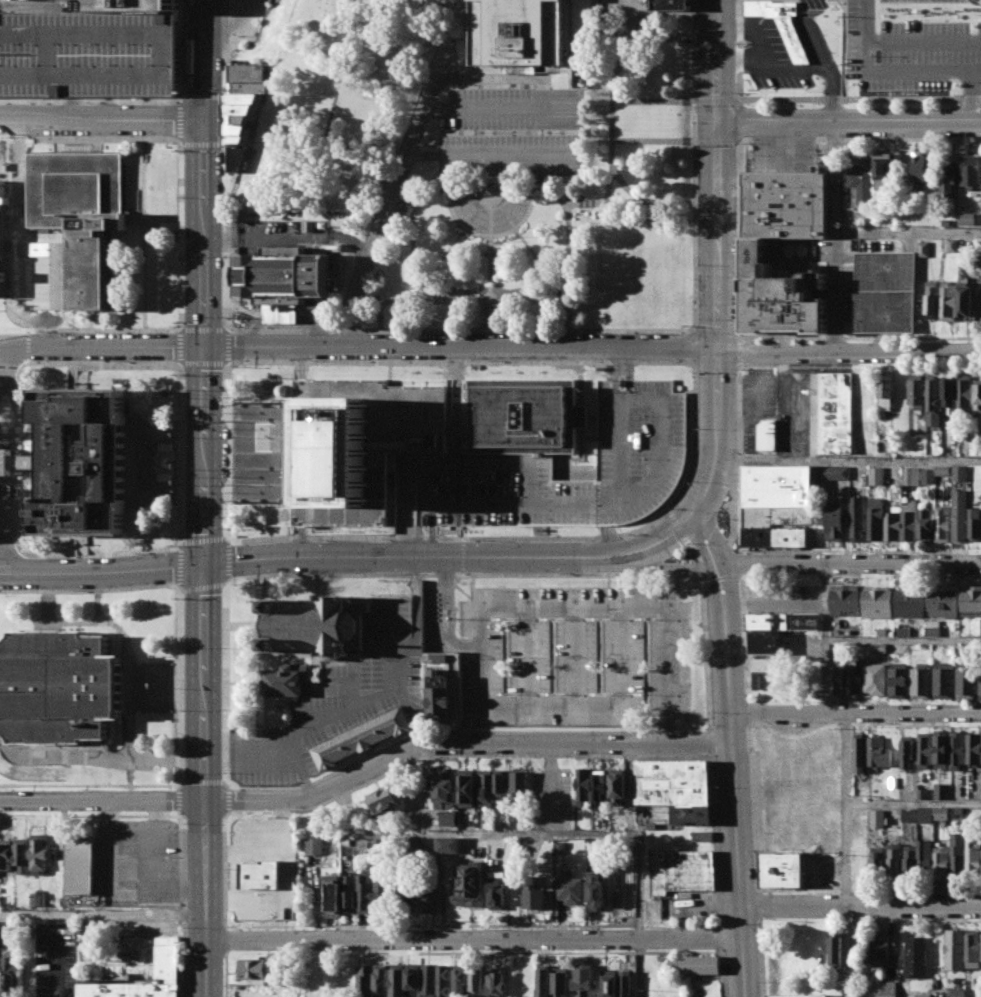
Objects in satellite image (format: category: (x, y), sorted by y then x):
building: (18, 1)
road: (229, 4)
road: (230, 4)
parking lot: (806, 4)
building: (115, 5)
building: (671, 6)
road: (204, 13)
road: (855, 16)
road: (231, 23)
road: (228, 25)
building: (780, 25)
building: (516, 33)
road: (609, 39)
road: (855, 43)
parking lot: (910, 43)
road: (570, 44)
road: (226, 45)
road: (739, 49)
road: (179, 51)
parking lot: (88, 54)
parking lot: (765, 57)
road: (717, 60)
road: (973, 68)
road: (694, 70)
road: (559, 71)
building: (247, 72)
building: (248, 87)
road: (966, 93)
building: (246, 97)
road: (611, 98)
road: (739, 98)
road: (860, 99)
road: (716, 100)
road: (654, 102)
park: (333, 109)
road: (481, 109)
building: (242, 117)
road: (101, 118)
road: (738, 119)
road: (849, 119)
traffic signals: (718, 122)
parking lot: (512, 132)
road: (858, 138)
road: (72, 139)
road: (154, 139)
building: (238, 139)
road: (179, 141)
road: (718, 141)
road: (653, 142)
road: (695, 142)
road: (221, 143)
building: (235, 156)
road: (551, 157)
road: (223, 160)
road: (404, 163)
building: (921, 167)
building: (884, 171)
building: (970, 171)
road: (533, 173)
road: (448, 174)
road: (834, 176)
building: (949, 179)
building: (860, 180)
road: (311, 182)
road: (204, 186)
road: (609, 187)
road: (491, 190)
building: (787, 204)
road: (629, 205)
park: (562, 206)
road: (375, 211)
building: (81, 215)
road: (162, 218)
building: (966, 219)
road: (848, 232)
building: (2, 234)
road: (718, 234)
road: (522, 237)
road: (457, 238)
building: (952, 245)
building: (923, 249)
road: (490, 261)
building: (283, 275)
road: (553, 284)
road: (432, 290)
building: (884, 291)
building: (778, 296)
building: (931, 299)
building: (965, 299)
building: (948, 300)
road: (474, 302)
road: (283, 318)
road: (178, 327)
road: (226, 328)
road: (693, 328)
road: (72, 330)
road: (169, 330)
road: (608, 330)
road: (739, 335)
road: (764, 337)
road: (226, 346)
road: (102, 347)
road: (179, 347)
traffic signals: (204, 347)
road: (460, 347)
traffic signals: (718, 347)
road: (619, 351)
road: (849, 351)
road: (89, 363)
road: (6, 364)
road: (693, 364)
road: (228, 365)
road: (755, 366)
road: (737, 368)
road: (458, 371)
road: (718, 385)
road: (581, 389)
road: (182, 391)
road: (225, 391)
building: (915, 391)
building: (885, 393)
building: (949, 393)
building: (965, 395)
building: (978, 396)
building: (934, 400)
road: (450, 401)
road: (626, 404)
road: (458, 407)
road: (20, 408)
building: (837, 412)
building: (521, 416)
building: (582, 417)
road: (596, 427)
building: (766, 433)
road: (695, 434)
building: (360, 444)
road: (581, 446)
road: (622, 454)
road: (849, 458)
building: (79, 461)
road: (138, 461)
parking lot: (474, 461)
road: (479, 463)
road: (714, 467)
building: (941, 470)
building: (832, 472)
building: (959, 473)
helipad: (338, 474)
building: (876, 476)
building: (911, 476)
building: (926, 476)
road: (458, 491)
road: (739, 492)
building: (777, 494)
road: (263, 501)
road: (428, 501)
building: (406, 503)
road: (604, 503)
road: (669, 511)
road: (227, 512)
building: (959, 516)
building: (856, 518)
building: (875, 518)
building: (833, 520)
building: (909, 520)
road: (405, 522)
building: (893, 523)
building: (941, 523)
road: (180, 524)
building: (975, 524)
building: (925, 525)
road: (419, 527)
road: (679, 528)
road: (432, 531)
road: (446, 531)
building: (775, 538)
road: (8, 539)
road: (228, 539)
road: (611, 540)
road: (696, 551)
road: (90, 555)
road: (462, 556)
road: (355, 559)
road: (853, 562)
traffic signals: (203, 563)
road: (646, 566)
road: (701, 567)
road: (728, 569)
road: (464, 574)
road: (711, 576)
road: (715, 577)
road: (127, 588)
parking lot: (784, 599)
building: (843, 599)
building: (971, 600)
road: (823, 601)
building: (877, 601)
building: (942, 601)
building: (909, 602)
road: (777, 603)
road: (99, 606)
road: (569, 608)
road: (49, 611)
parking lot: (439, 620)
building: (784, 621)
road: (98, 622)
building: (317, 624)
building: (980, 625)
building: (933, 628)
building: (902, 630)
building: (881, 631)
building: (764, 635)
road: (903, 639)
road: (416, 641)
building: (879, 648)
building: (765, 649)
road: (706, 650)
road: (526, 656)
road: (573, 656)
parking lot: (574, 657)
building: (439, 658)
road: (203, 671)
road: (826, 676)
building: (854, 676)
building: (837, 678)
building: (876, 679)
building: (943, 680)
building: (966, 680)
building: (287, 681)
building: (898, 681)
building: (920, 681)
building: (979, 681)
road: (226, 685)
road: (354, 686)
building: (58, 687)
flagpole: (157, 687)
building: (438, 696)
road: (864, 702)
parking lot: (336, 704)
road: (570, 704)
road: (185, 710)
road: (855, 712)
road: (750, 713)
road: (332, 718)
road: (462, 732)
building: (363, 736)
road: (712, 739)
road: (511, 743)
building: (941, 747)
building: (973, 748)
building: (957, 749)
building: (924, 750)
building: (878, 751)
building: (906, 751)
building: (859, 752)
road: (270, 754)
road: (463, 755)
road: (107, 757)
building: (500, 780)
building: (520, 781)
building: (672, 782)
road: (65, 785)
road: (156, 785)
building: (442, 785)
building: (617, 786)
building: (467, 787)
building: (485, 787)
road: (551, 787)
building: (583, 788)
building: (599, 788)
road: (630, 788)
building: (941, 790)
building: (954, 791)
building: (922, 796)
road: (151, 798)
building: (385, 799)
parking lot: (552, 799)
road: (226, 800)
road: (913, 804)
road: (759, 806)
building: (940, 813)
building: (908, 814)
building: (924, 814)
building: (691, 815)
road: (735, 817)
building: (877, 817)
building: (449, 818)
road: (536, 831)
building: (702, 836)
road: (717, 840)
building: (414, 841)
building: (313, 845)
building: (448, 845)
building: (561, 847)
building: (956, 852)
building: (40, 853)
building: (6, 854)
road: (846, 854)
building: (23, 855)
building: (973, 855)
building: (923, 856)
building: (909, 858)
building: (876, 859)
building: (893, 859)
parking lot: (137, 860)
building: (940, 860)
building: (80, 866)
building: (681, 868)
building: (783, 868)
road: (224, 870)
building: (259, 875)
building: (471, 879)
building: (498, 889)
building: (348, 890)
building: (569, 890)
building: (363, 891)
building: (596, 891)
building: (405, 892)
building: (331, 893)
building: (380, 893)
building: (428, 893)
building: (534, 894)
building: (37, 899)
parking lot: (262, 899)
road: (860, 904)
road: (759, 905)
road: (102, 914)
building: (1, 928)
road: (722, 937)
road: (474, 938)
road: (225, 941)
building: (835, 949)
building: (881, 949)
building: (955, 949)
building: (973, 949)
road: (681, 951)
road: (54, 955)
building: (916, 957)
road: (762, 958)
building: (167, 959)
building: (695, 964)
building: (8, 969)
building: (252, 969)
road: (724, 972)
road: (226, 974)
building: (412, 976)
building: (363, 979)
building: (380, 980)
building: (397, 980)
building: (428, 980)
building: (461, 980)
building: (478, 980)
building: (584, 980)
building: (444, 981)
building: (543, 982)
building: (561, 982)
building: (497, 983)
building: (609, 983)
building: (624, 983)
building: (887, 989)
building: (957, 992)
building: (923, 994)
building: (797, 995)

